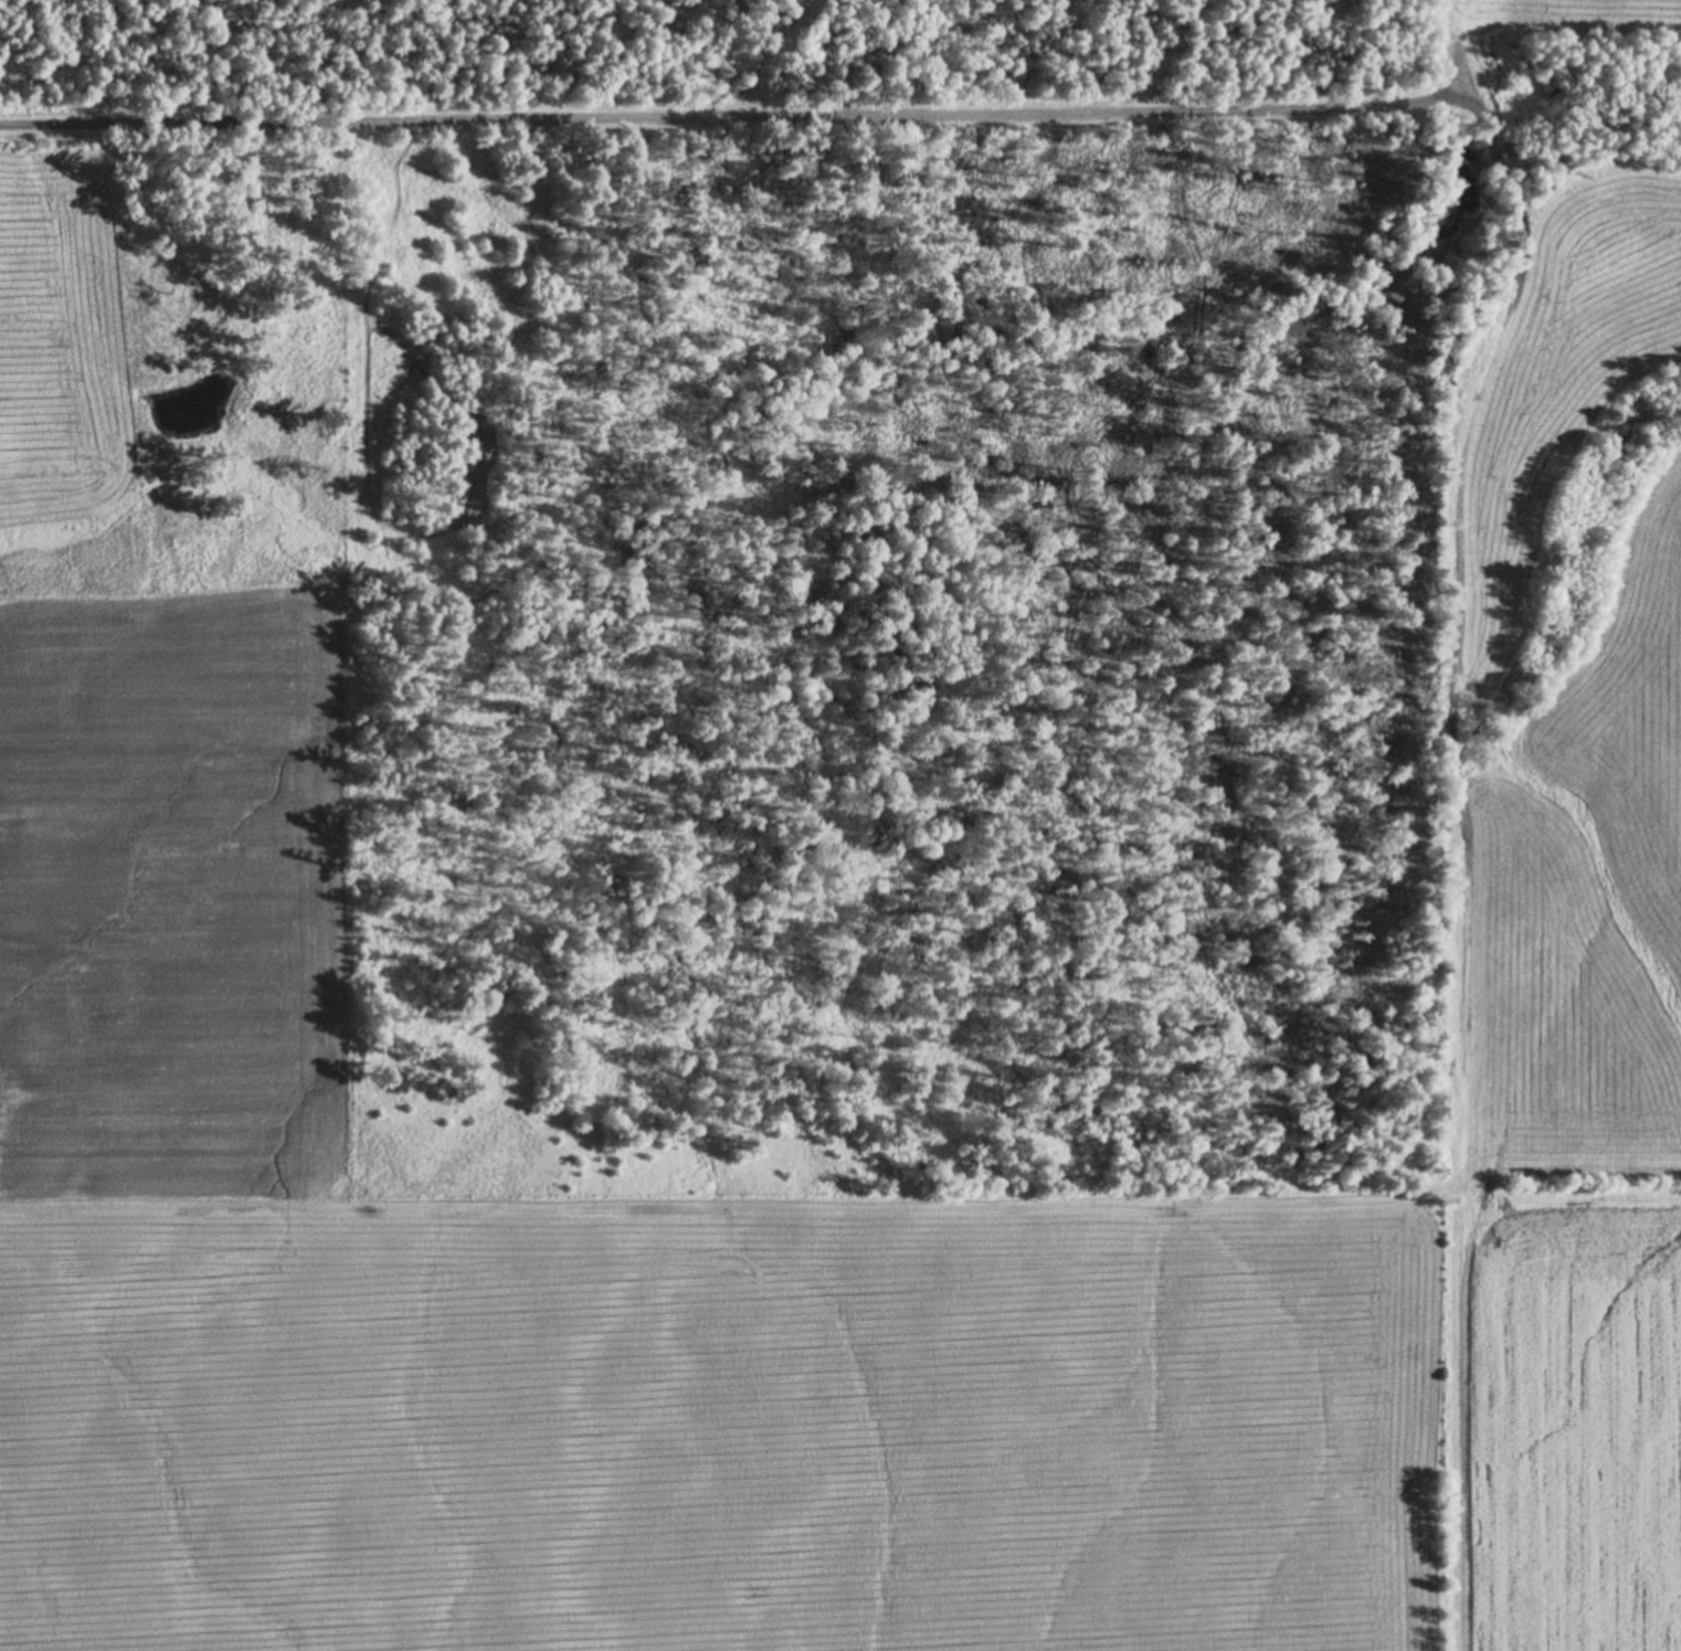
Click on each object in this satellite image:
crop: (1543, 25)
road: (738, 116)
crop: (175, 951)

